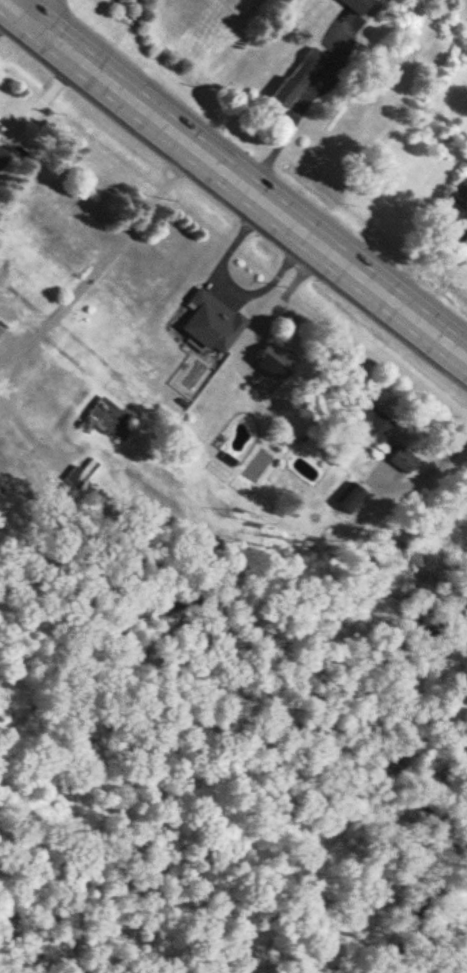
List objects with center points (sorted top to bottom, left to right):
road: (21, 5)
building: (360, 5)
building: (301, 77)
building: (0, 127)
road: (285, 133)
building: (4, 158)
road: (234, 178)
building: (460, 194)
building: (214, 323)
building: (278, 361)
building: (107, 420)
building: (379, 427)
building: (406, 459)
building: (81, 473)
road: (425, 474)
park: (187, 813)

